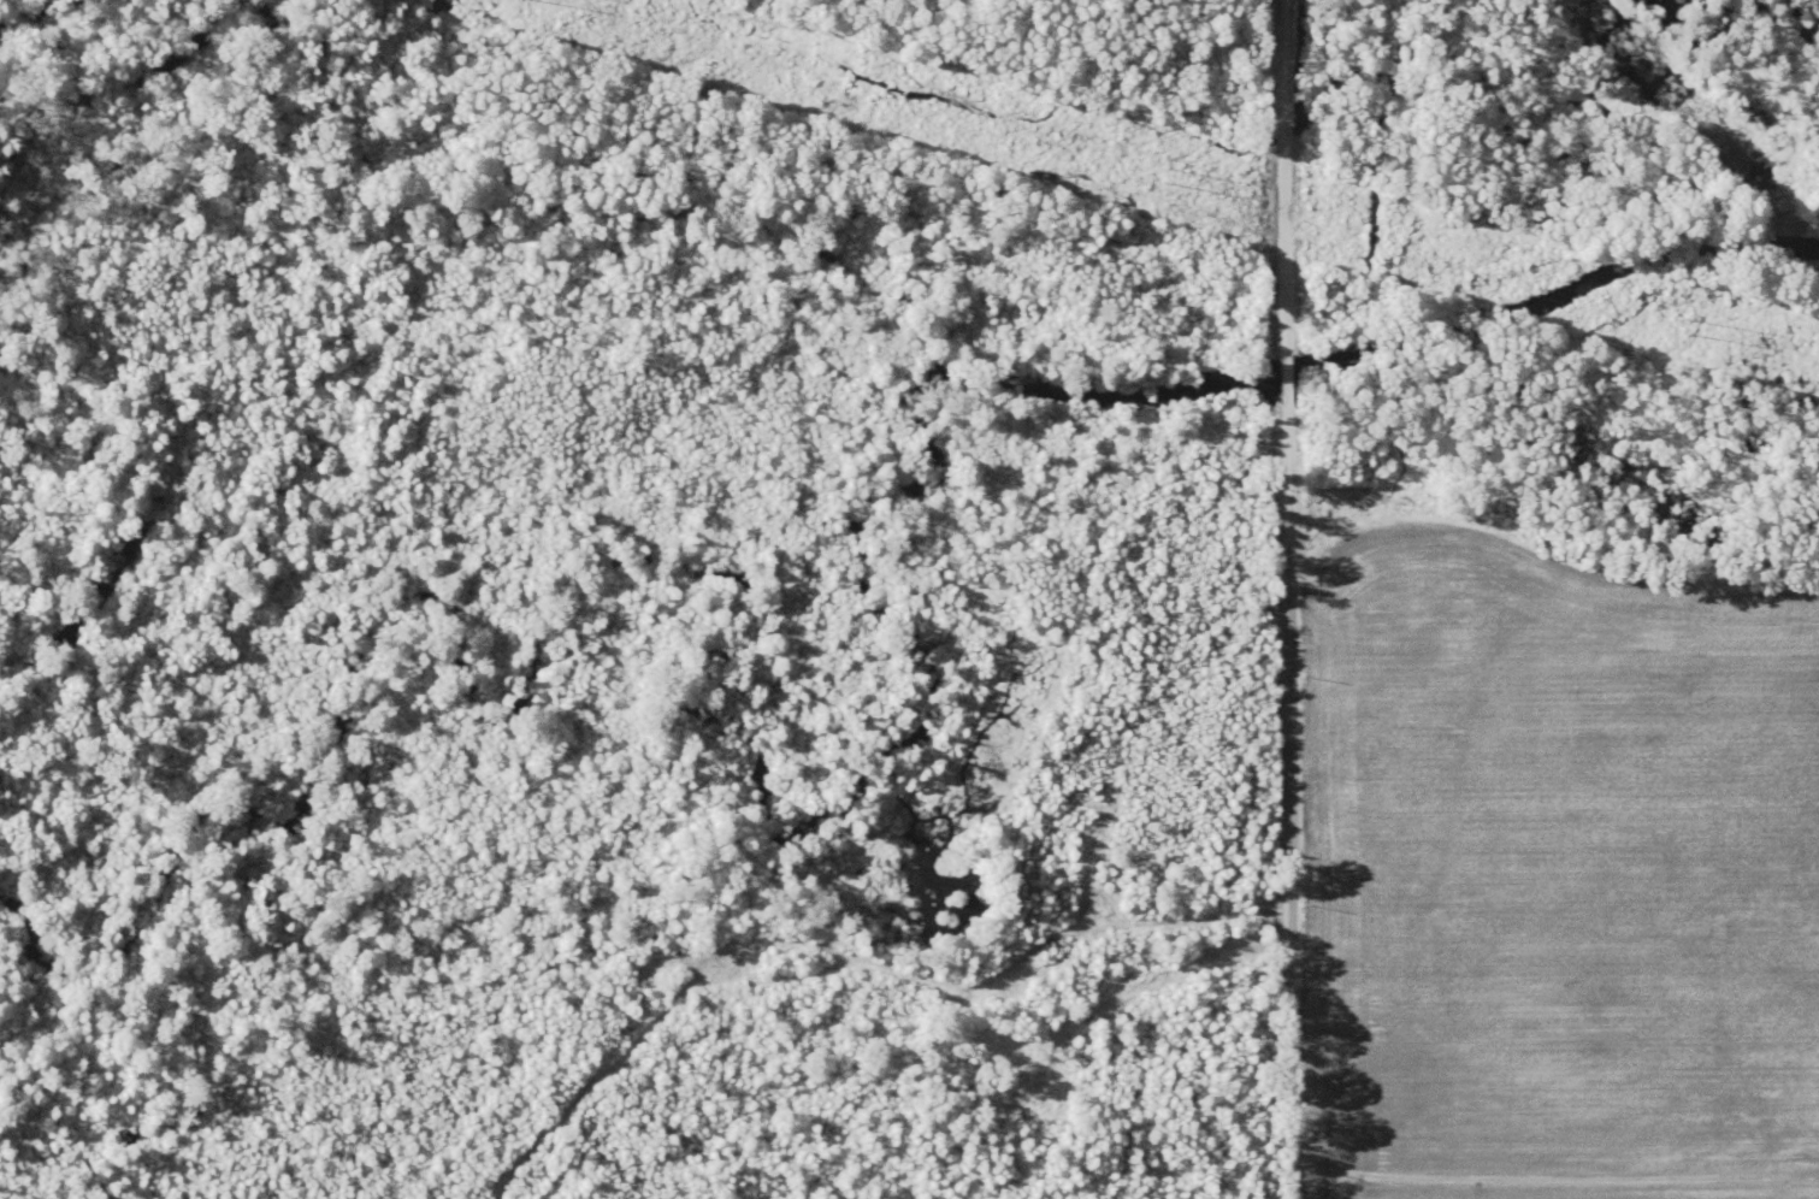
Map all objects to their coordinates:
power tower: (1162, 178)
power tower: (1685, 330)
road: (1295, 599)

